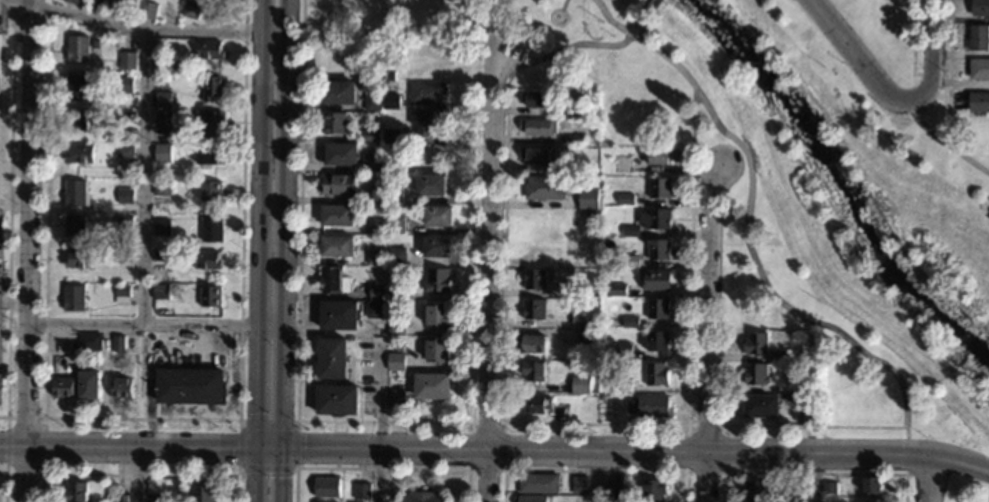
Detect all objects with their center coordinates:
building: (72, 2)
building: (95, 5)
building: (179, 6)
road: (649, 8)
building: (980, 9)
building: (192, 10)
building: (152, 11)
road: (480, 23)
road: (146, 34)
road: (912, 37)
building: (979, 40)
road: (574, 46)
building: (77, 49)
building: (427, 49)
building: (211, 50)
road: (854, 56)
road: (936, 56)
building: (127, 61)
building: (163, 67)
building: (980, 70)
road: (930, 71)
road: (948, 71)
building: (399, 74)
building: (124, 85)
building: (76, 88)
building: (213, 88)
building: (340, 93)
building: (427, 94)
building: (163, 99)
building: (537, 100)
building: (392, 102)
building: (980, 103)
building: (374, 104)
building: (575, 113)
building: (127, 117)
building: (77, 120)
building: (163, 120)
building: (211, 122)
building: (336, 124)
building: (424, 124)
building: (539, 128)
building: (373, 137)
building: (392, 137)
road: (942, 140)
building: (575, 142)
building: (125, 152)
building: (80, 153)
building: (163, 153)
building: (342, 155)
building: (209, 156)
building: (537, 156)
building: (663, 157)
road: (261, 163)
road: (288, 164)
building: (372, 164)
building: (564, 170)
park: (793, 173)
road: (142, 179)
building: (341, 186)
building: (432, 187)
building: (162, 188)
building: (544, 189)
building: (661, 189)
river: (834, 191)
building: (211, 192)
building: (76, 194)
building: (125, 196)
building: (378, 197)
building: (395, 197)
building: (589, 200)
building: (626, 201)
road: (5, 206)
road: (9, 211)
building: (402, 216)
building: (338, 217)
building: (439, 218)
building: (655, 220)
building: (124, 223)
road: (475, 224)
road: (746, 224)
building: (76, 225)
building: (376, 227)
building: (396, 227)
building: (161, 228)
building: (212, 229)
building: (631, 233)
building: (338, 247)
building: (439, 248)
road: (29, 251)
building: (660, 252)
road: (503, 254)
building: (161, 256)
building: (376, 258)
building: (398, 258)
road: (690, 258)
building: (124, 259)
building: (78, 260)
building: (208, 261)
building: (630, 262)
road: (488, 274)
building: (535, 281)
building: (333, 282)
building: (438, 282)
building: (657, 282)
building: (571, 290)
building: (161, 292)
building: (618, 292)
building: (378, 293)
building: (396, 294)
building: (122, 295)
building: (210, 297)
road: (298, 297)
building: (74, 298)
road: (14, 302)
building: (374, 311)
building: (535, 311)
building: (659, 311)
building: (339, 317)
building: (438, 317)
building: (579, 323)
road: (143, 324)
building: (619, 324)
road: (272, 327)
building: (397, 328)
road: (709, 334)
building: (350, 339)
building: (585, 339)
building: (89, 342)
building: (658, 342)
building: (68, 344)
building: (118, 344)
building: (531, 346)
building: (757, 346)
building: (399, 350)
building: (437, 352)
building: (624, 352)
building: (781, 358)
building: (333, 360)
building: (396, 362)
building: (534, 373)
building: (656, 376)
building: (756, 376)
building: (89, 386)
building: (579, 386)
building: (190, 387)
building: (623, 387)
building: (62, 388)
building: (432, 388)
building: (121, 389)
building: (395, 393)
building: (554, 398)
building: (603, 399)
building: (338, 401)
building: (809, 406)
building: (536, 407)
building: (650, 407)
building: (760, 408)
road: (381, 411)
traffic signals: (257, 413)
road: (257, 414)
road: (285, 415)
road: (142, 418)
road: (239, 420)
road: (485, 422)
road: (594, 422)
road: (706, 425)
road: (816, 426)
road: (5, 445)
road: (128, 445)
road: (43, 446)
road: (502, 446)
traffic signals: (232, 447)
traffic signals: (303, 448)
road: (594, 450)
road: (906, 455)
road: (961, 462)
road: (468, 463)
road: (381, 468)
road: (611, 471)
road: (706, 471)
road: (238, 472)
road: (135, 473)
road: (814, 473)
road: (139, 476)
road: (598, 476)
traffic signals: (284, 477)
road: (819, 478)
road: (931, 478)
building: (537, 484)
road: (5, 485)
building: (579, 485)
building: (873, 485)
road: (504, 486)
building: (325, 488)
building: (830, 488)
park: (965, 489)
building: (75, 491)
building: (654, 491)
building: (754, 491)
building: (360, 492)
building: (611, 493)
building: (203, 495)
building: (421, 497)
building: (157, 498)
building: (122, 499)
building: (532, 499)
building: (794, 499)
building: (875, 500)

